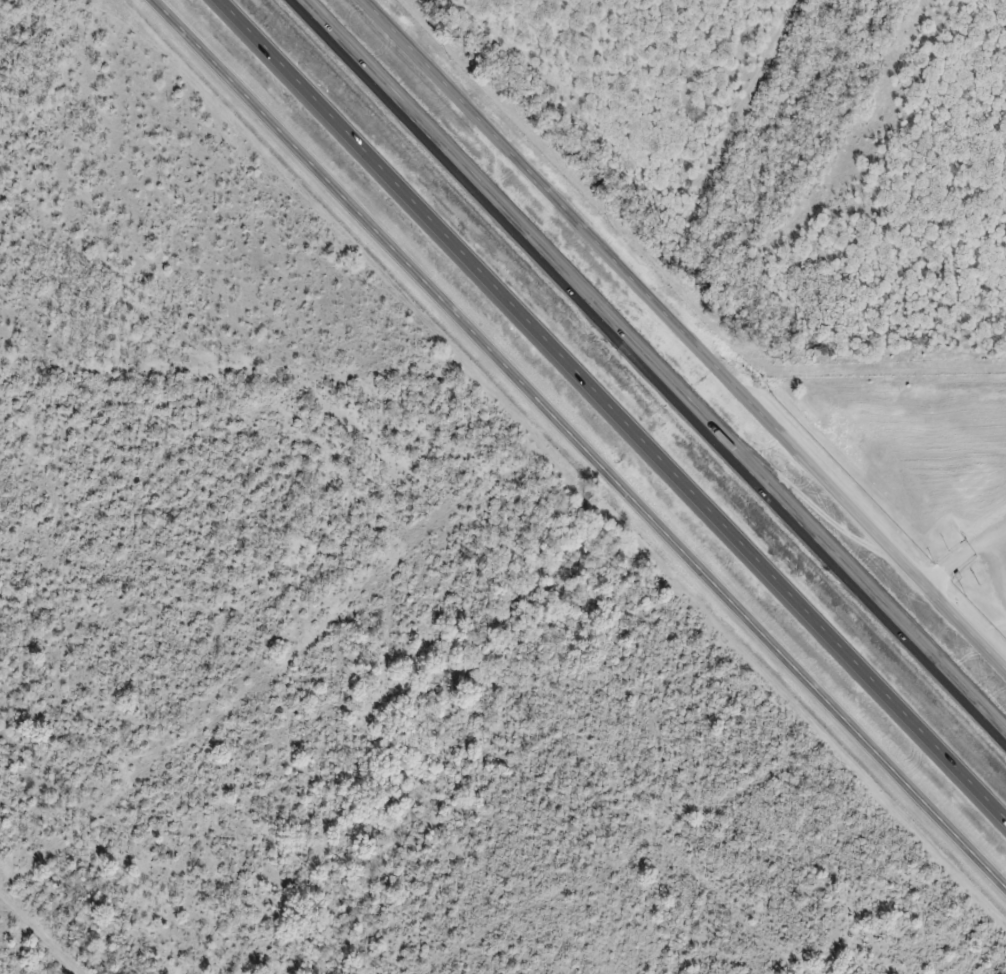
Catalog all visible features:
road: (686, 330)
road: (649, 369)
road: (613, 406)
road: (576, 443)

